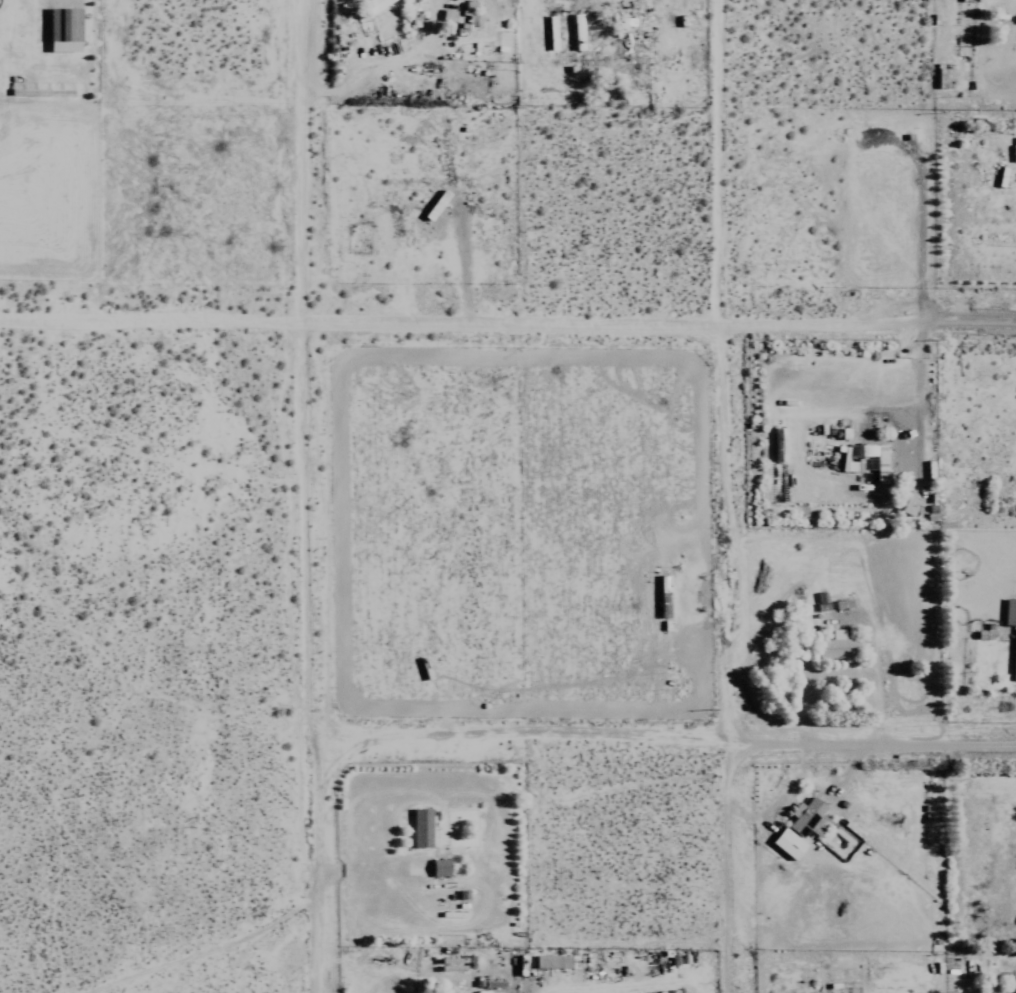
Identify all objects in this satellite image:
road: (508, 316)
road: (917, 395)
road: (313, 496)
road: (728, 496)
road: (666, 740)
building: (419, 828)
building: (437, 868)
road: (206, 950)
building: (550, 961)
building: (451, 964)

